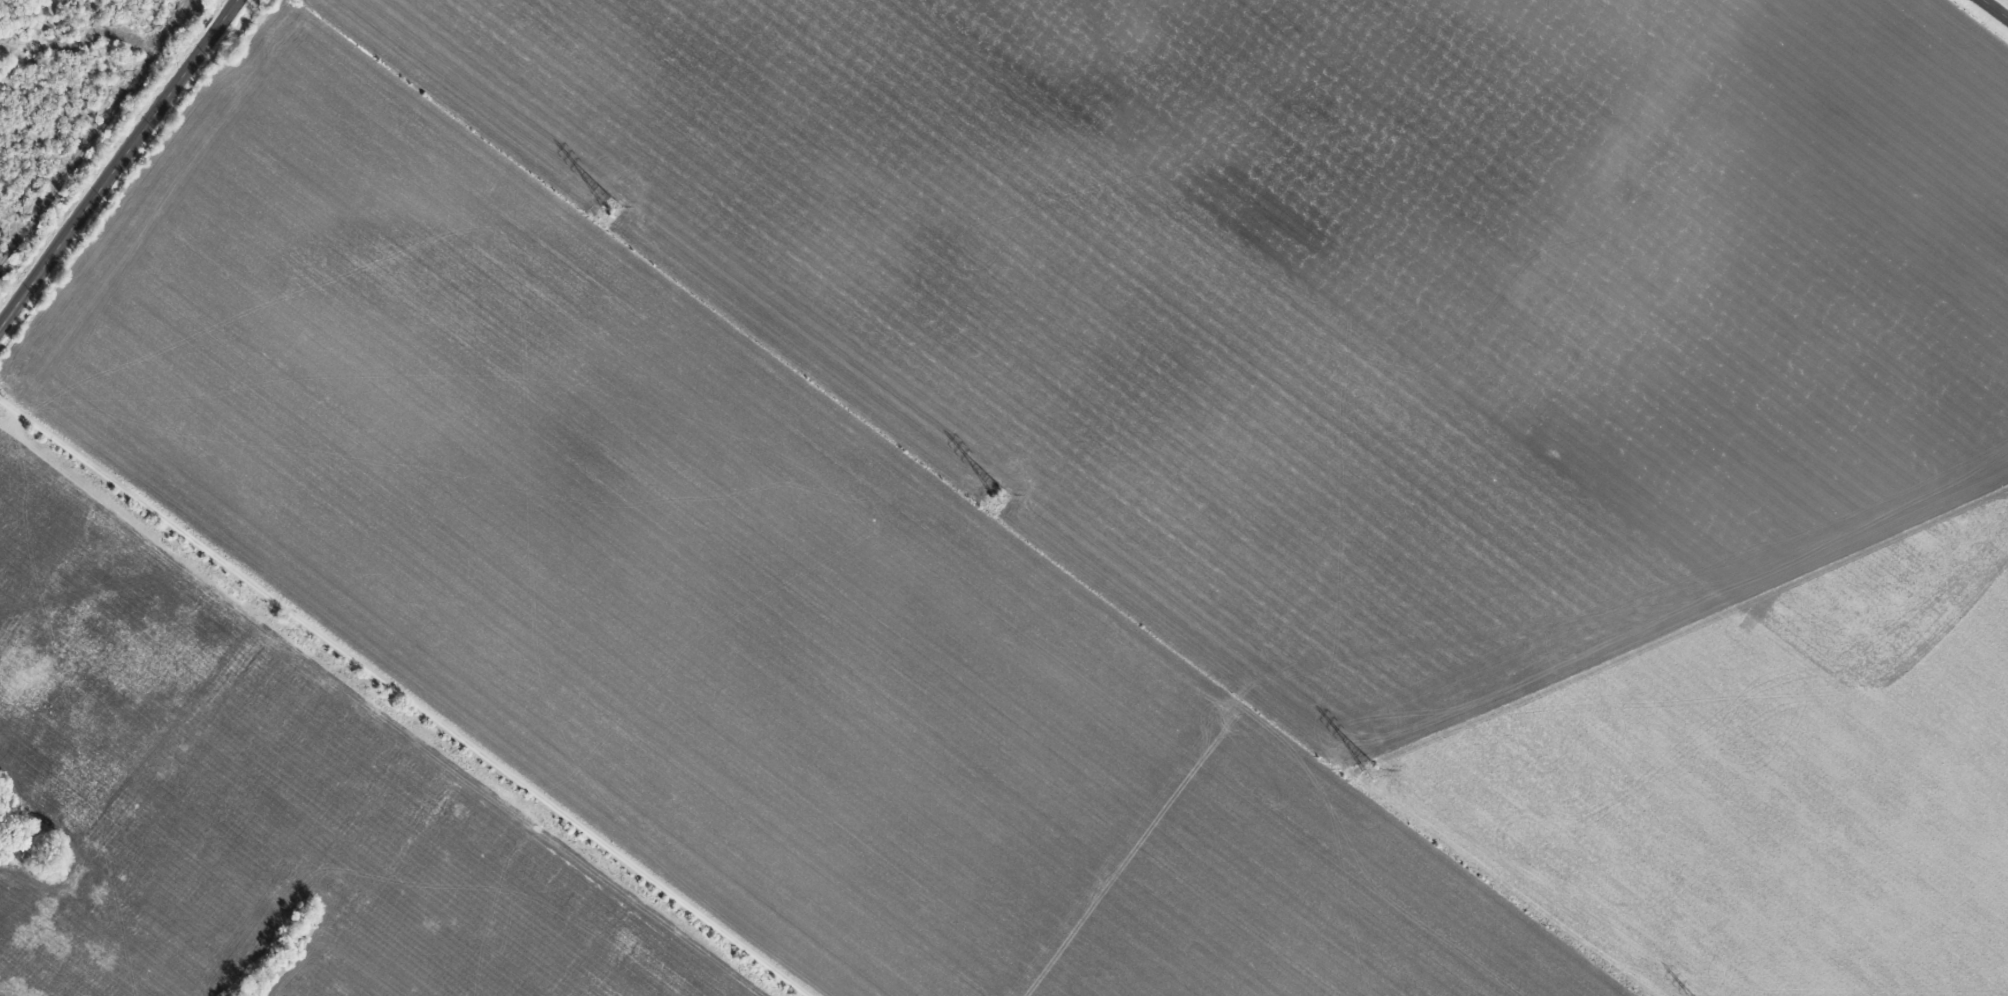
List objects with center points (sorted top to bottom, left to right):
road: (1995, 9)
road: (118, 164)
power tower: (612, 207)
power tower: (1002, 497)
road: (402, 698)
power tower: (1373, 772)

